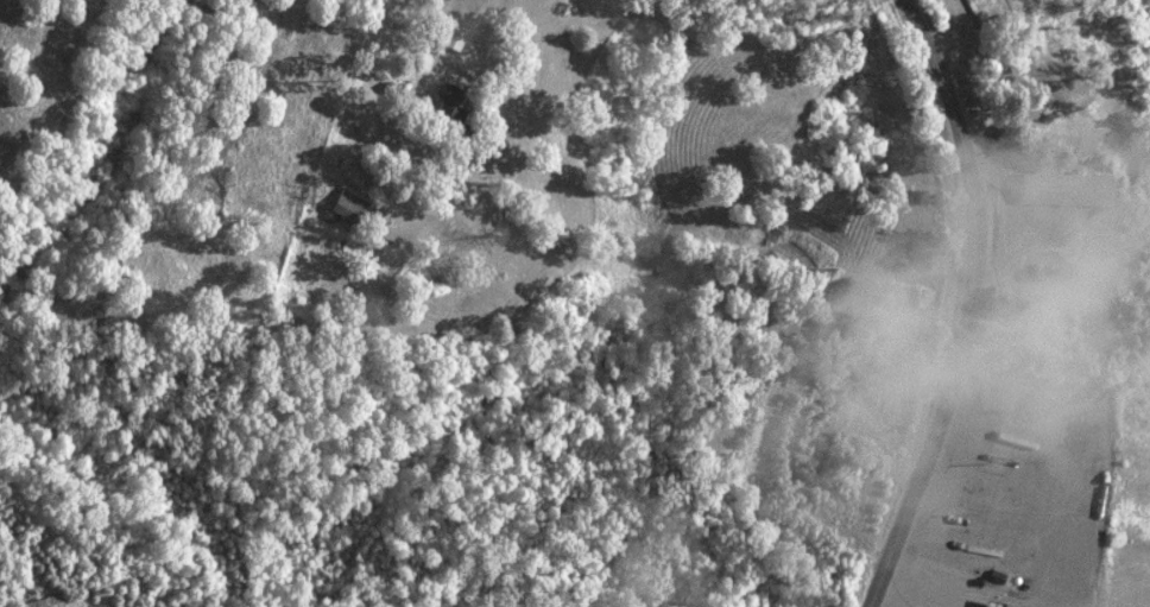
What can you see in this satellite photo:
road: (487, 56)
building: (448, 109)
building: (1061, 189)
building: (343, 208)
road: (969, 305)
building: (979, 606)

